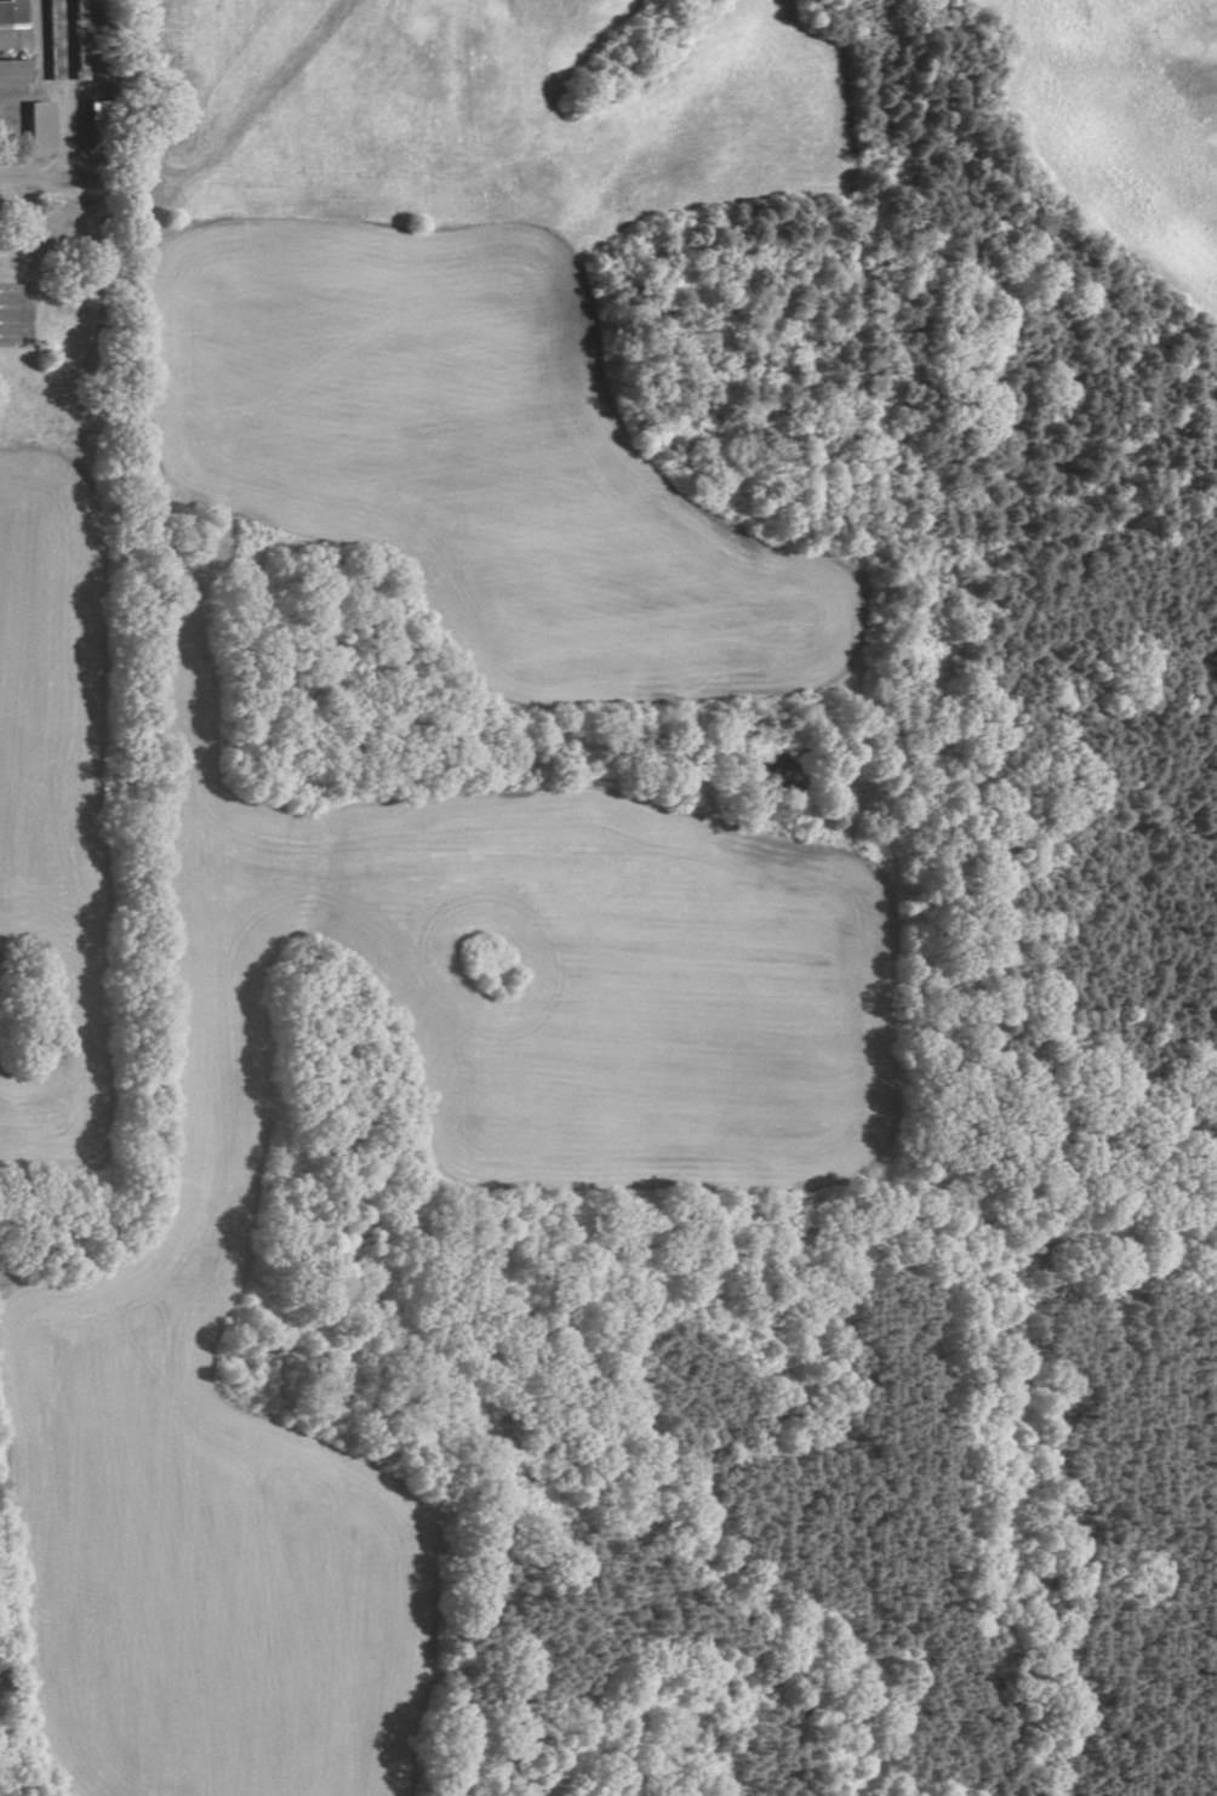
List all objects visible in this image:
building: (12, 12)
building: (12, 68)
building: (39, 124)
building: (10, 312)

